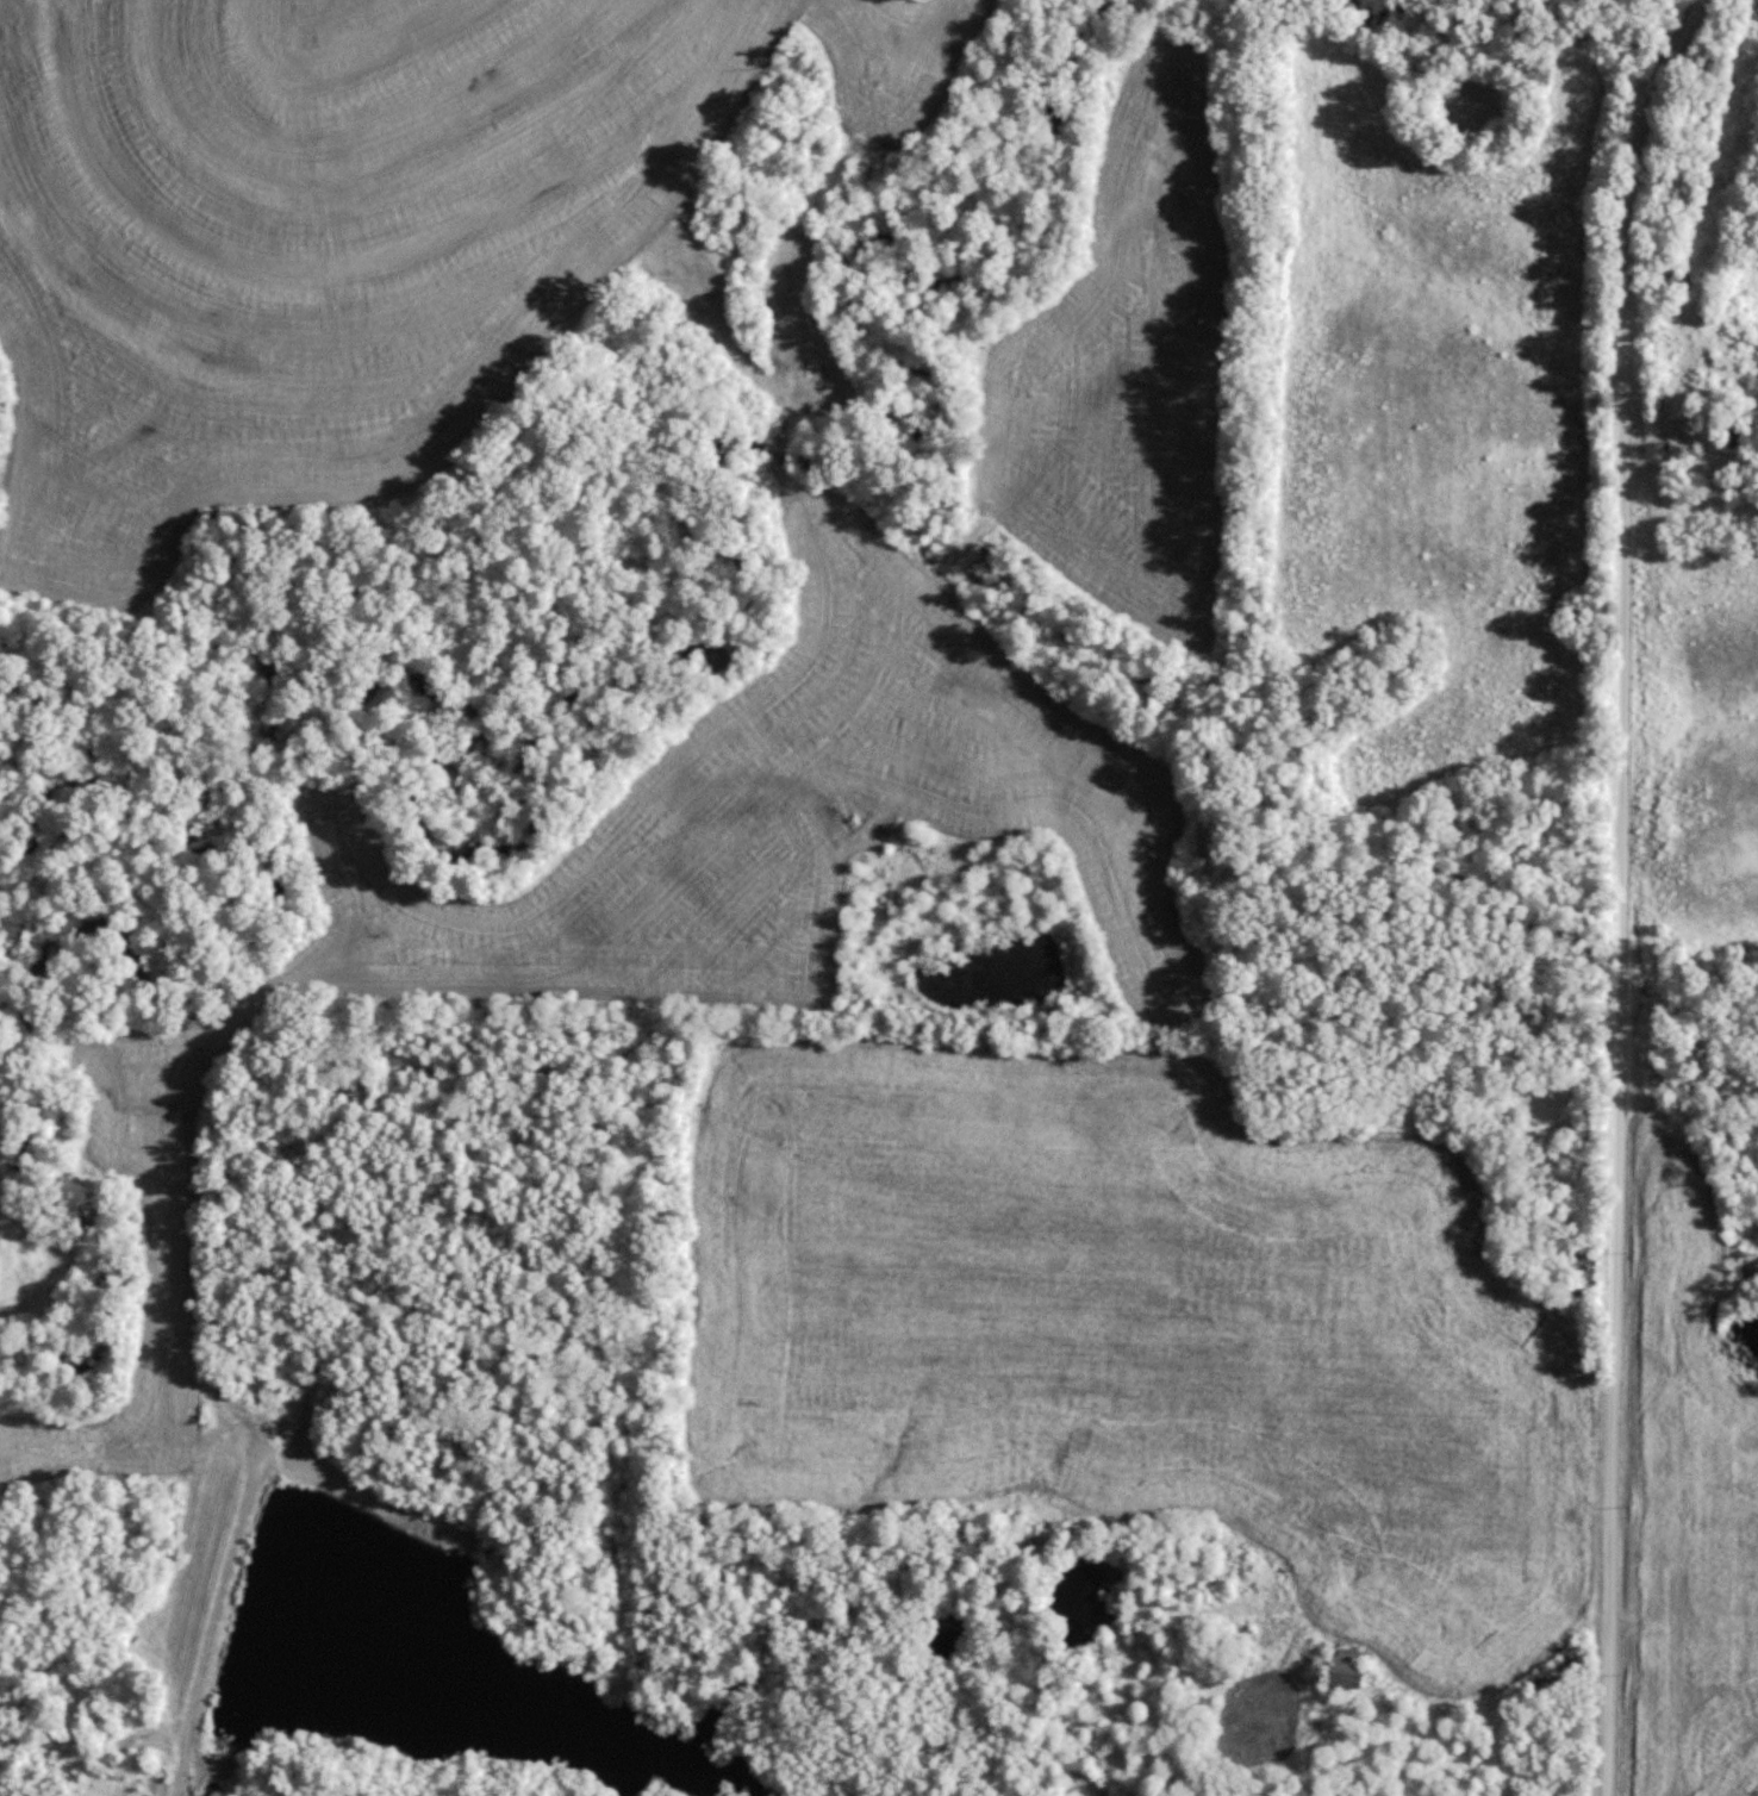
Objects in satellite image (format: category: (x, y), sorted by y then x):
road: (1616, 890)
park: (1280, 1084)

